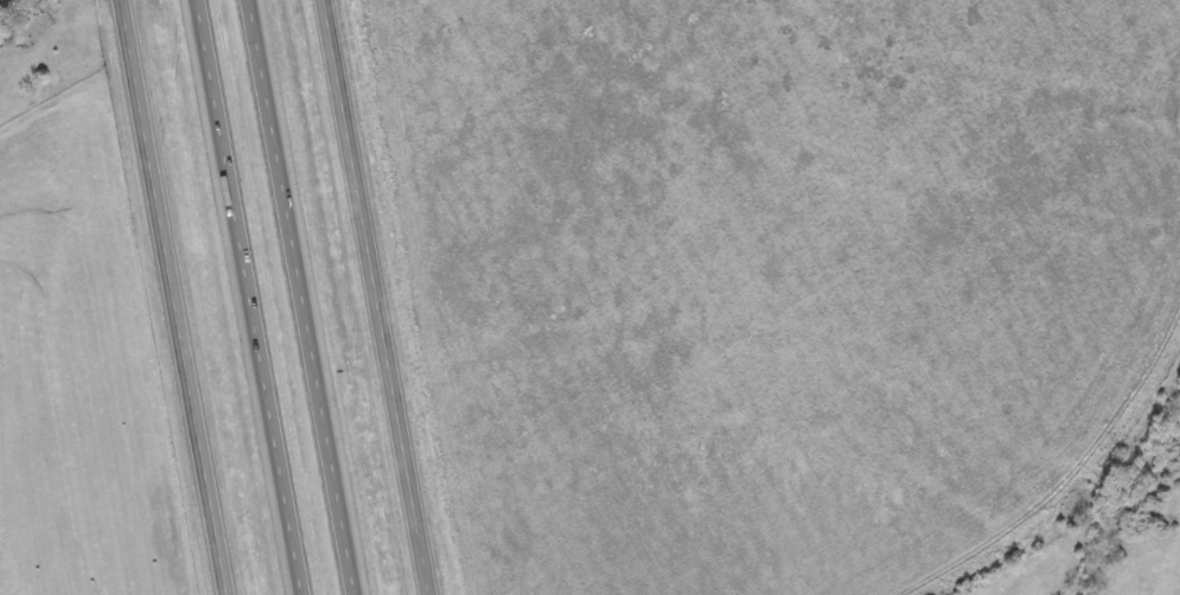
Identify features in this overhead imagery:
road: (255, 296)
road: (299, 296)
road: (383, 296)
road: (177, 297)

